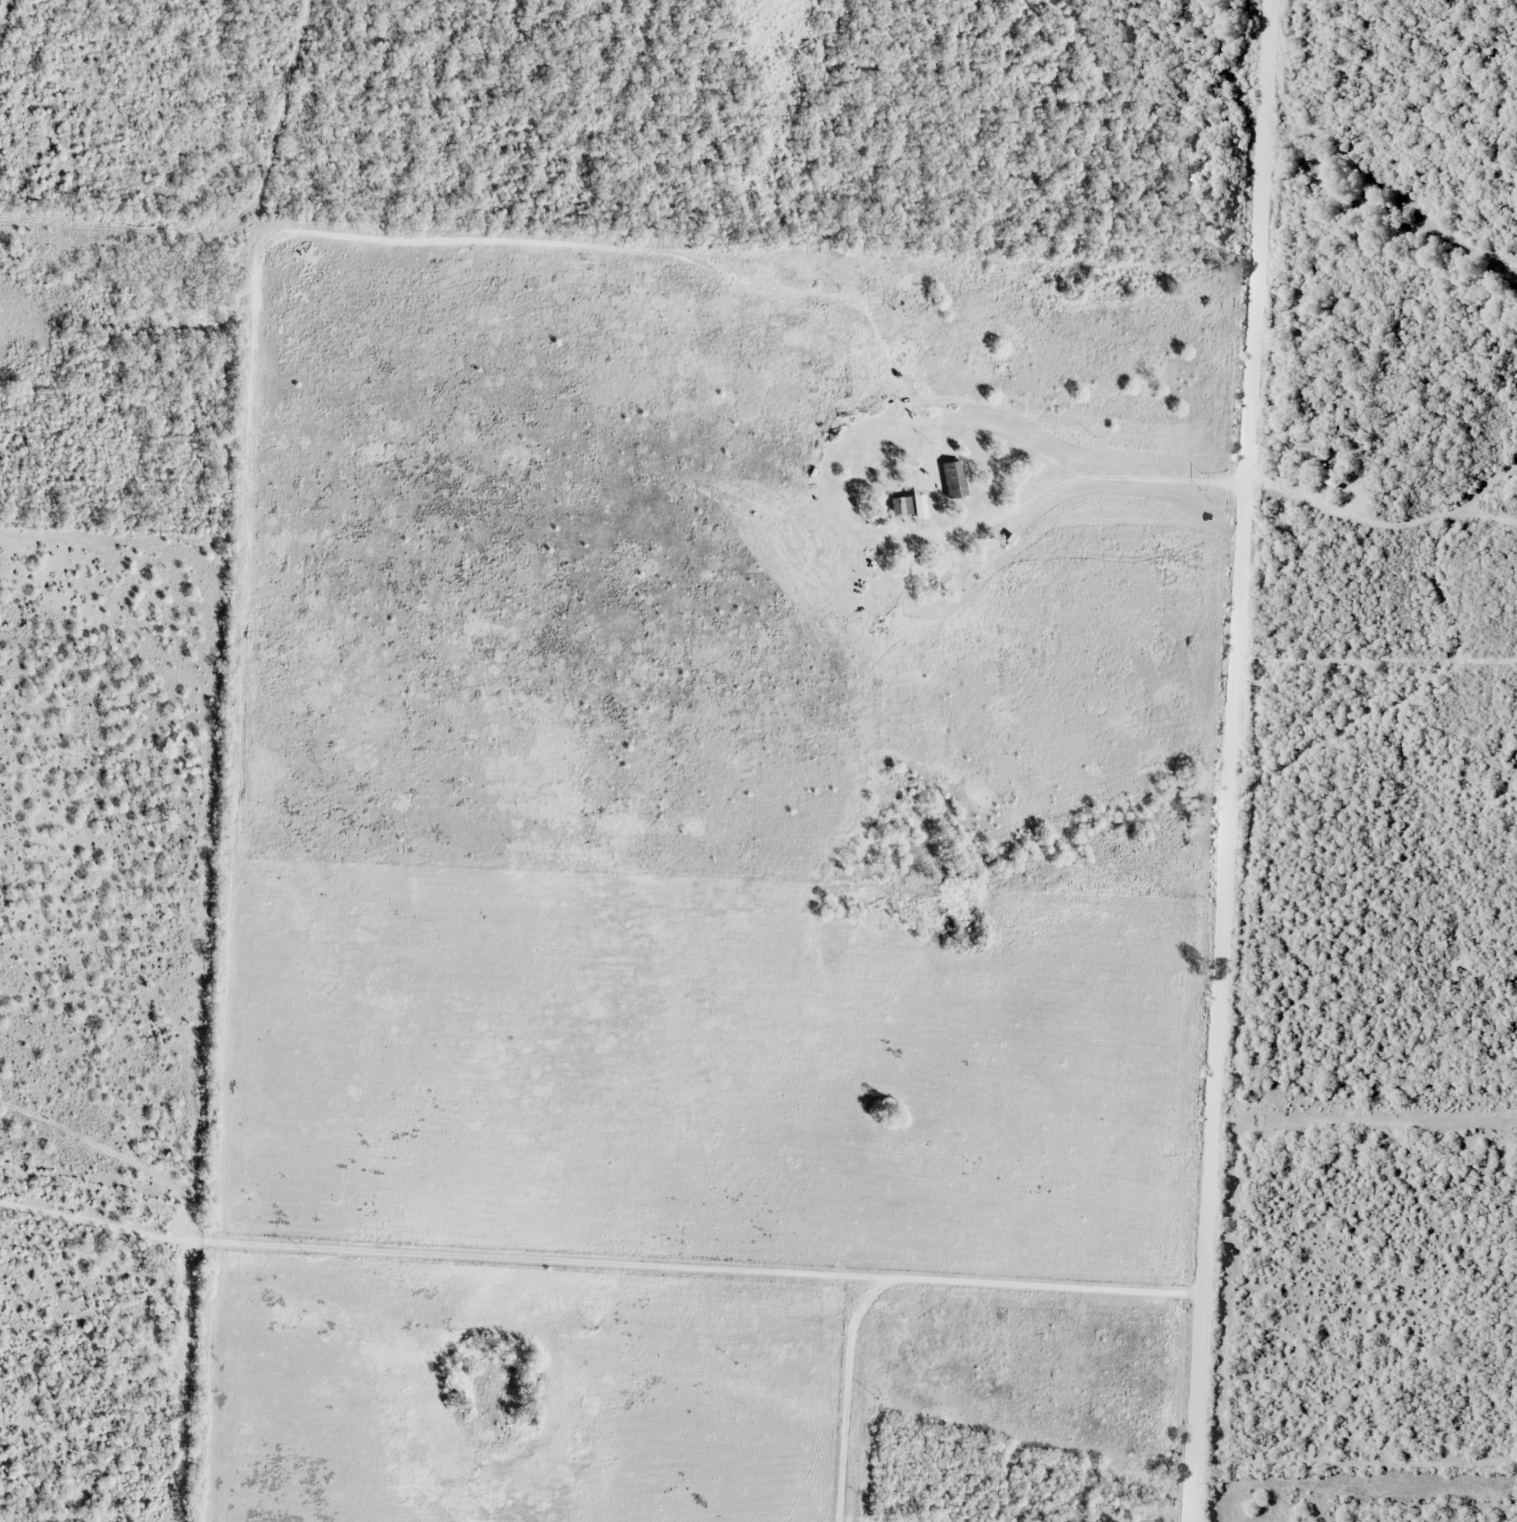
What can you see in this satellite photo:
building: (955, 478)
building: (897, 501)
road: (1235, 761)

